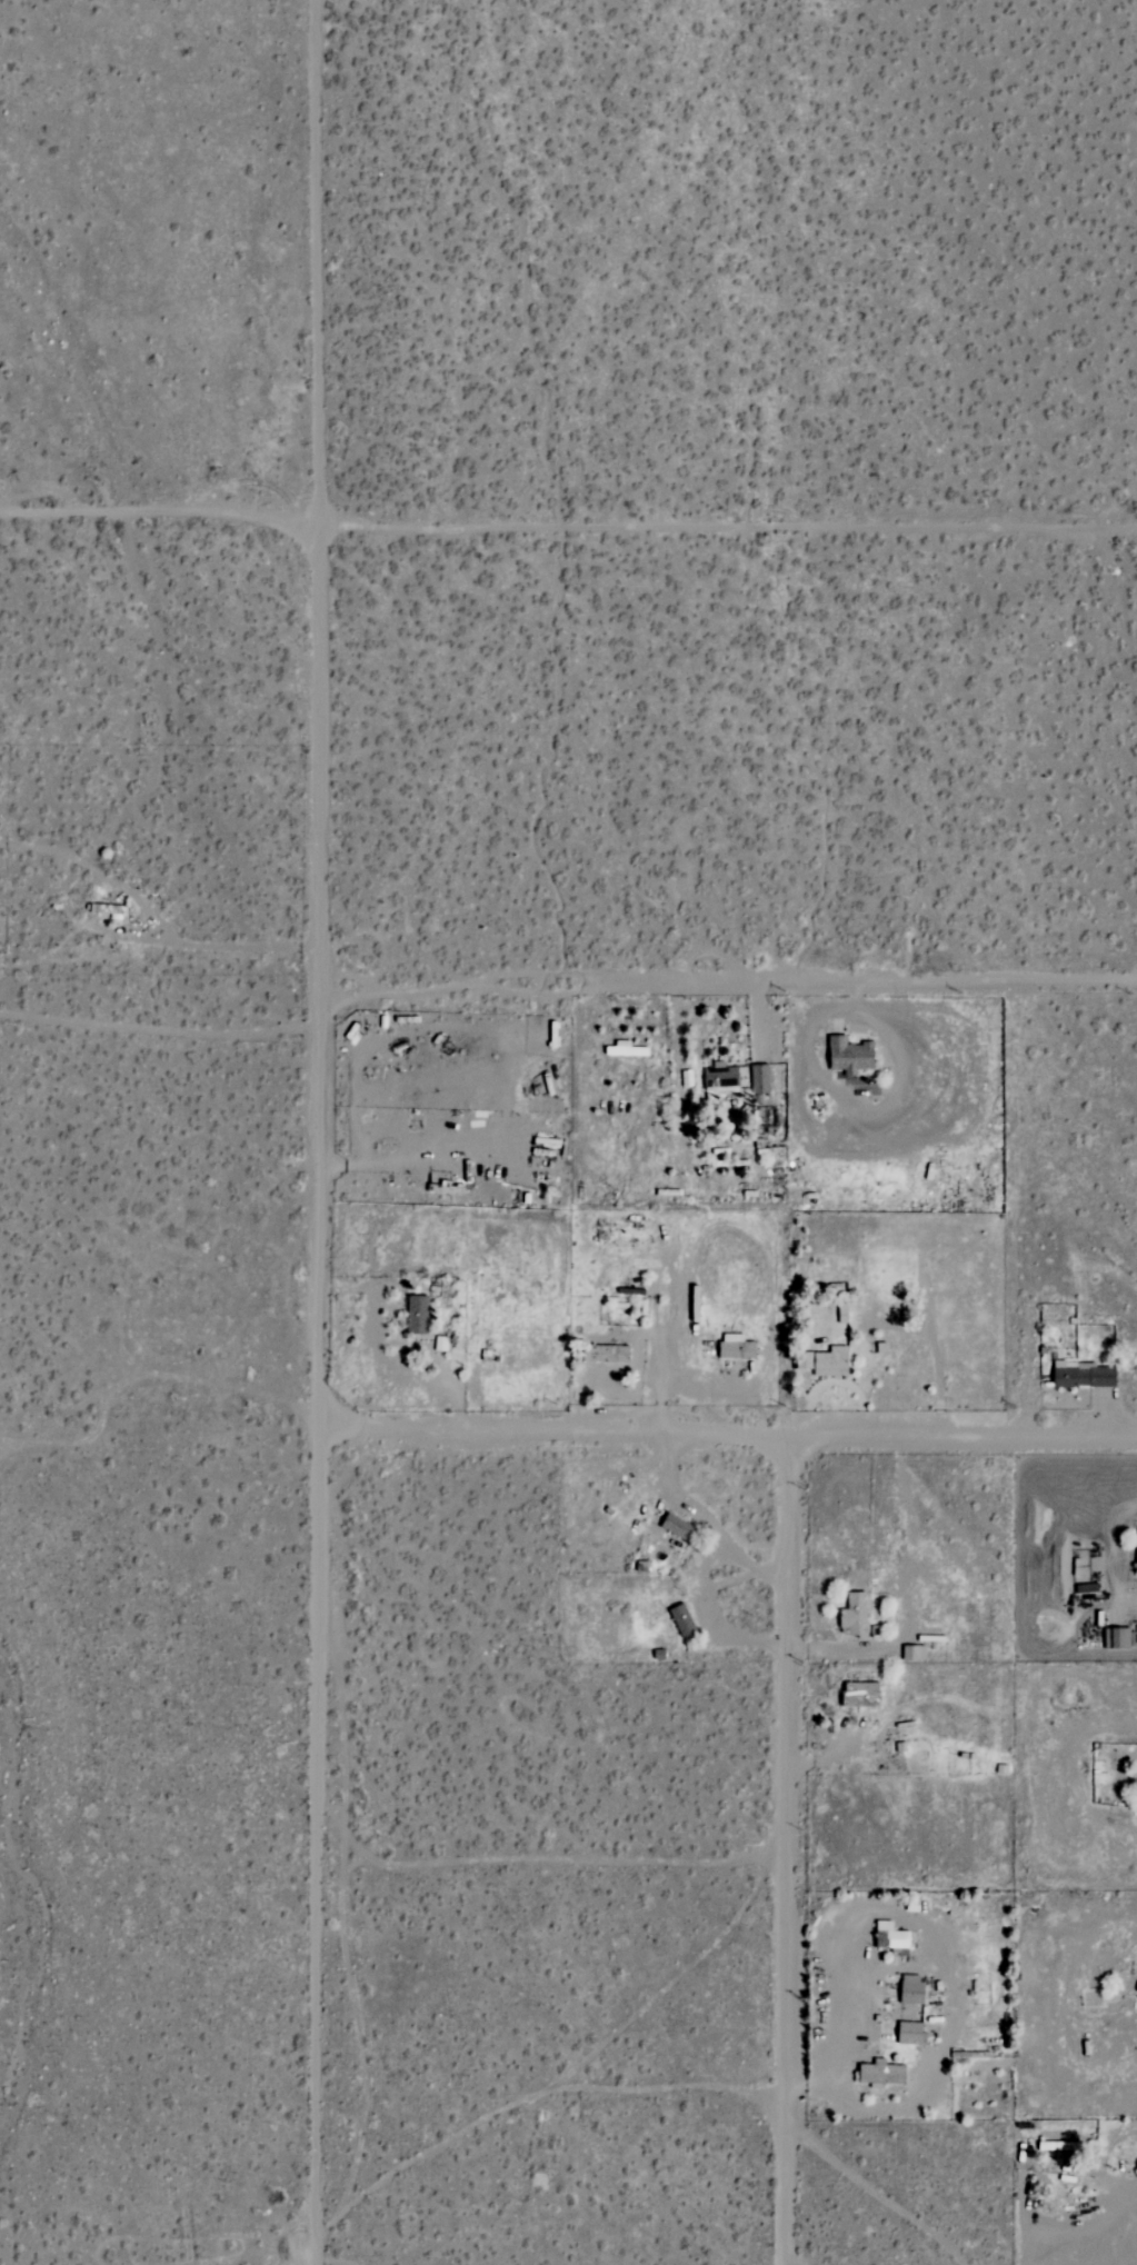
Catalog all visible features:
road: (568, 522)
road: (157, 918)
road: (734, 988)
road: (164, 1027)
building: (622, 1049)
building: (850, 1055)
building: (760, 1078)
building: (721, 1079)
road: (329, 1132)
building: (417, 1314)
building: (441, 1343)
building: (736, 1347)
building: (1084, 1375)
road: (732, 1439)
road: (709, 1524)
building: (677, 1527)
building: (1136, 1569)
road: (1111, 1575)
road: (909, 1595)
building: (855, 1616)
building: (682, 1620)
road: (711, 1620)
building: (1117, 1638)
building: (914, 1653)
building: (860, 1694)
road: (787, 1853)
building: (890, 1936)
building: (911, 1989)
building: (910, 2033)
building: (881, 2074)
road: (1119, 2183)
road: (874, 2189)

